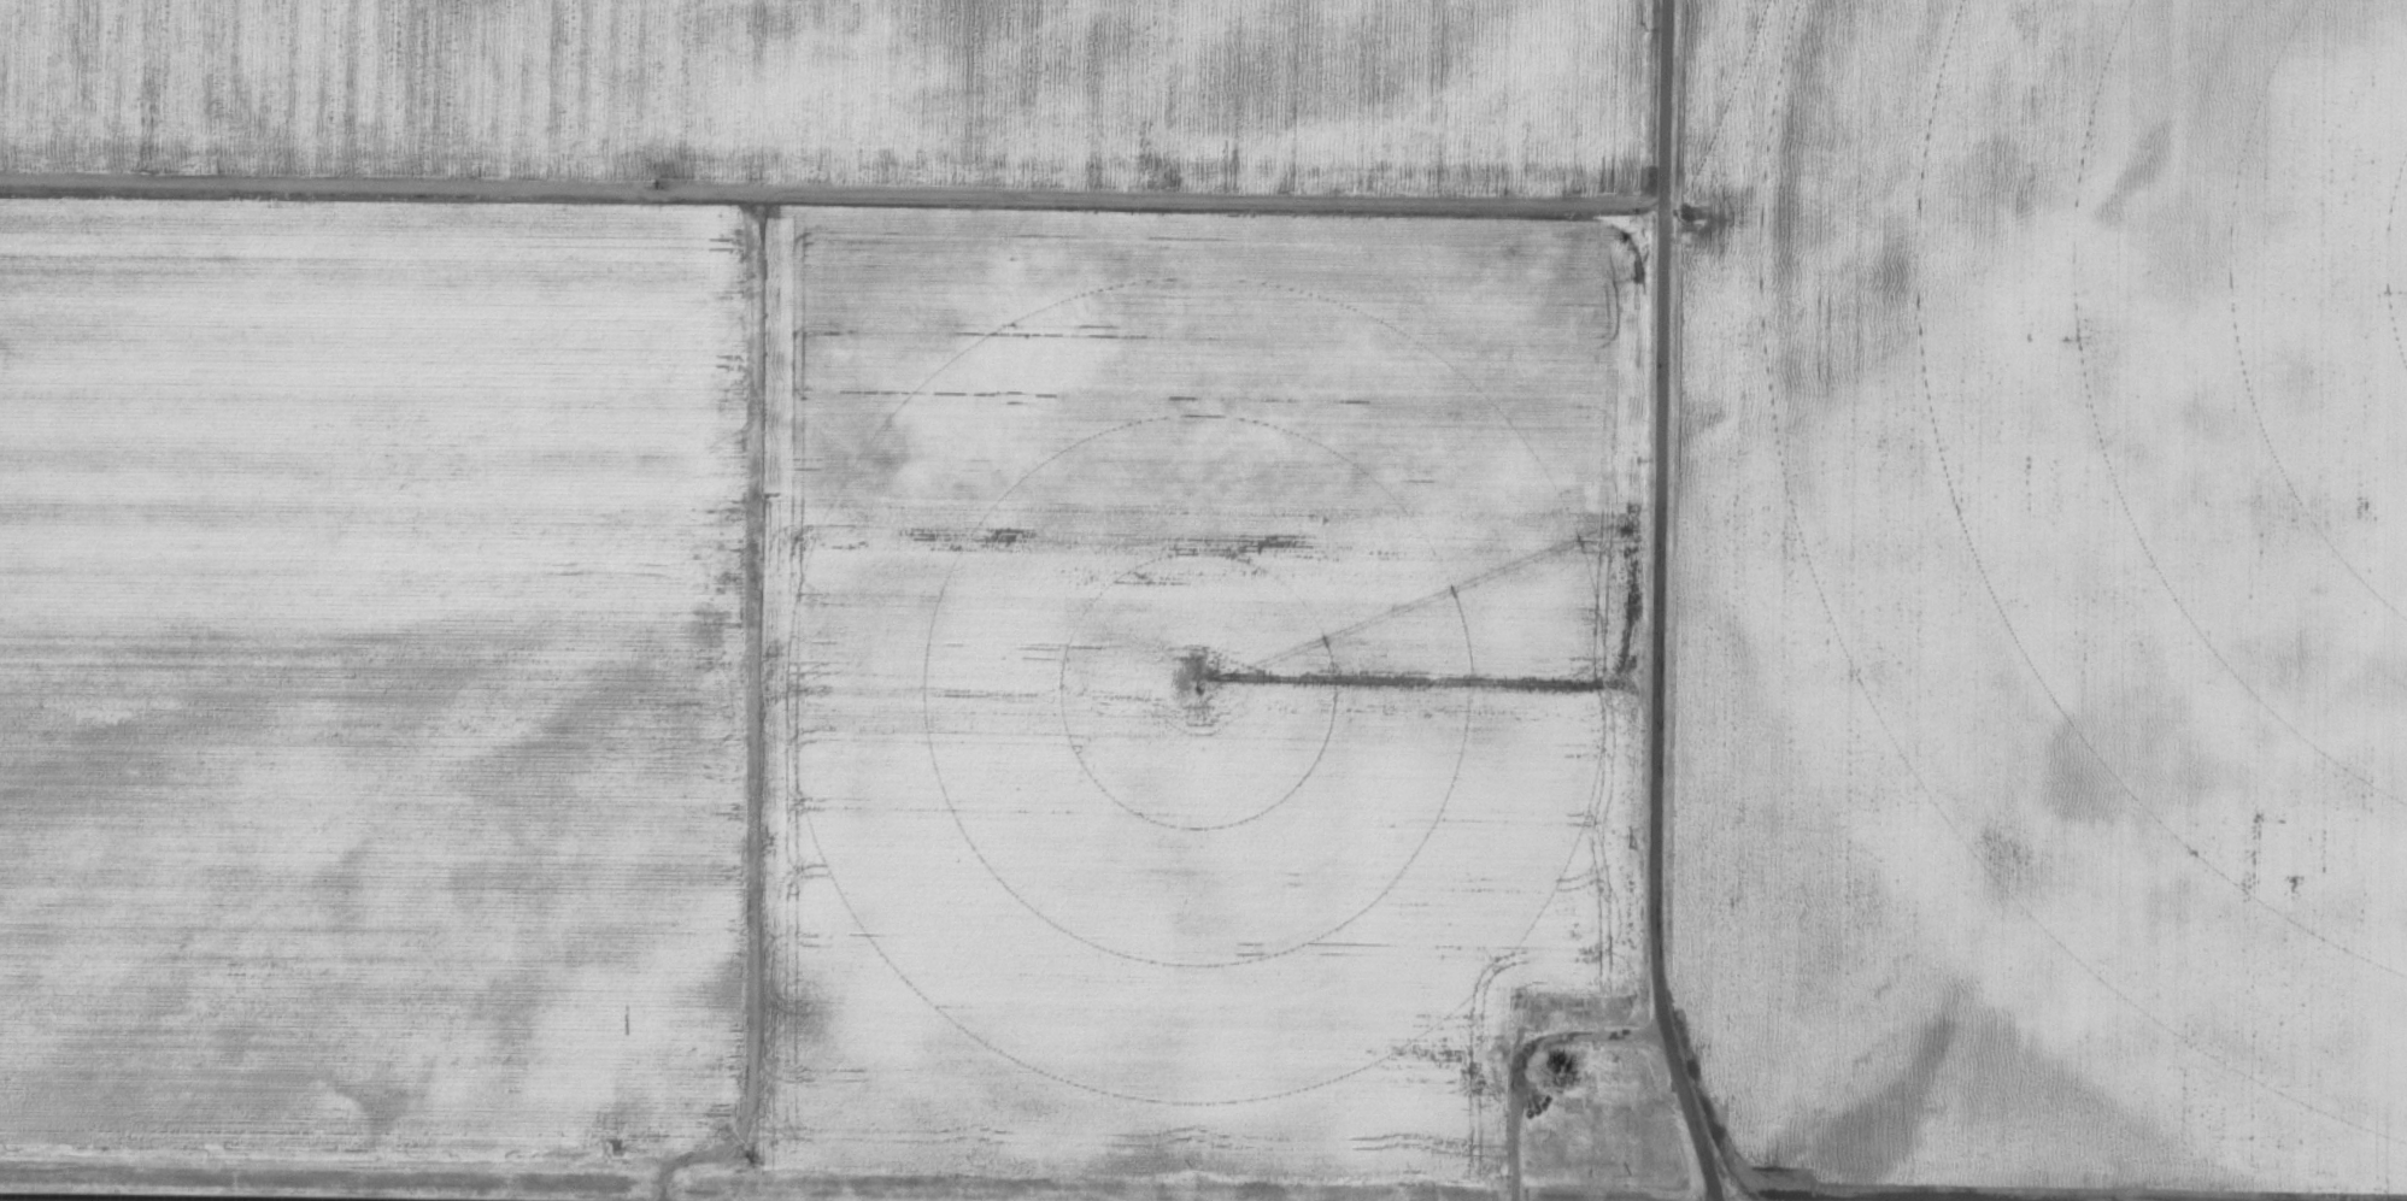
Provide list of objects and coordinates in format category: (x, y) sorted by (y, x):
road: (1661, 604)
road: (1524, 1049)

